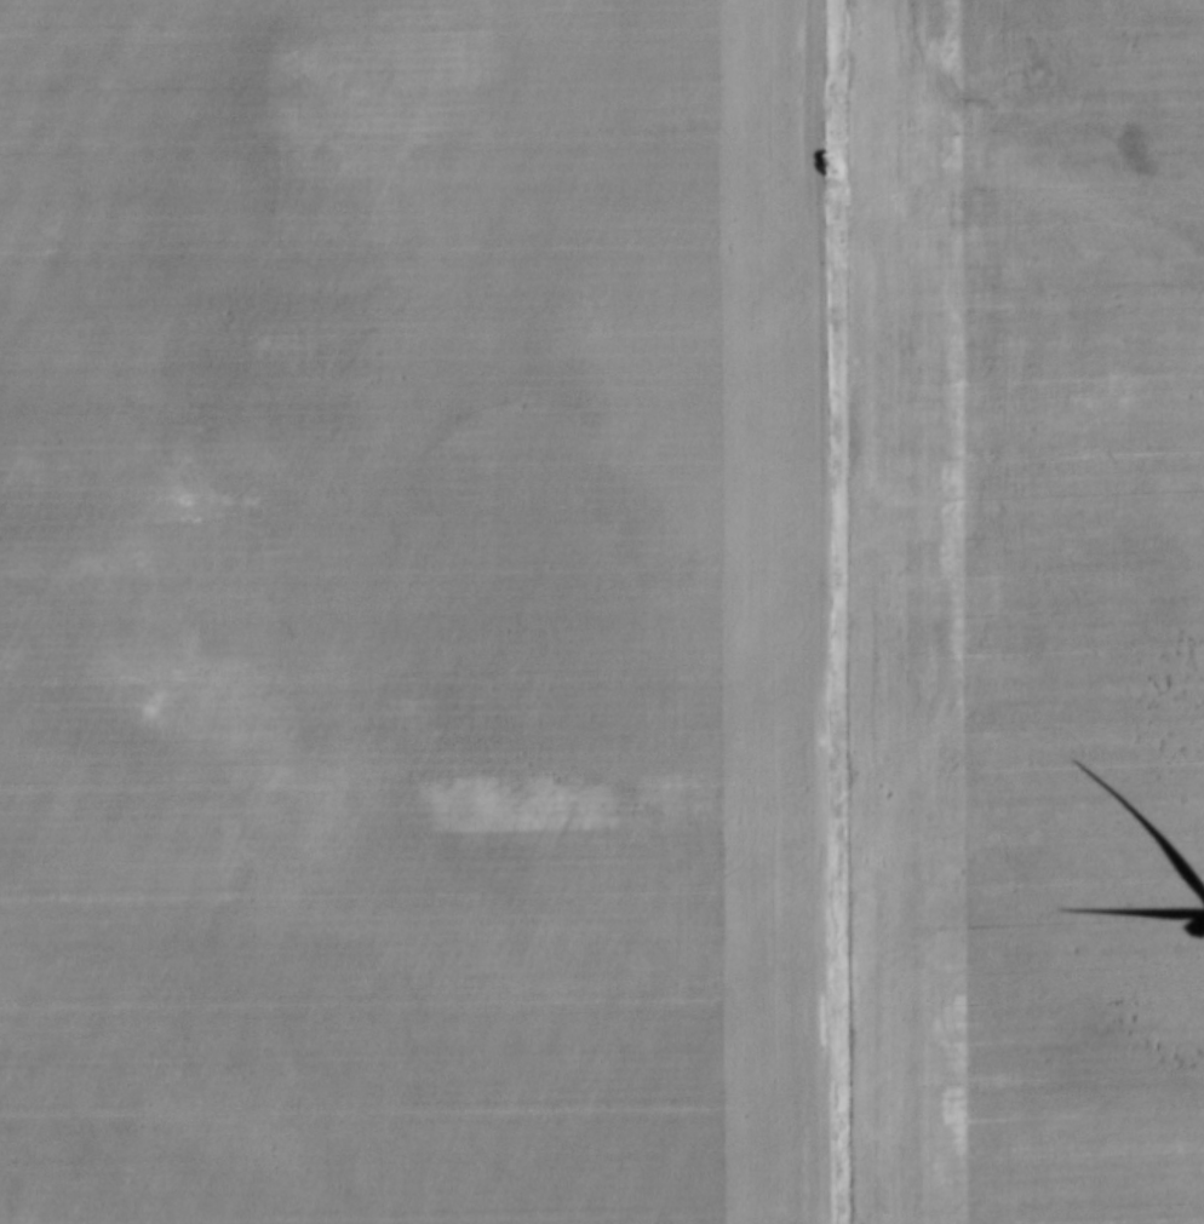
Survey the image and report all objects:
road: (952, 622)

